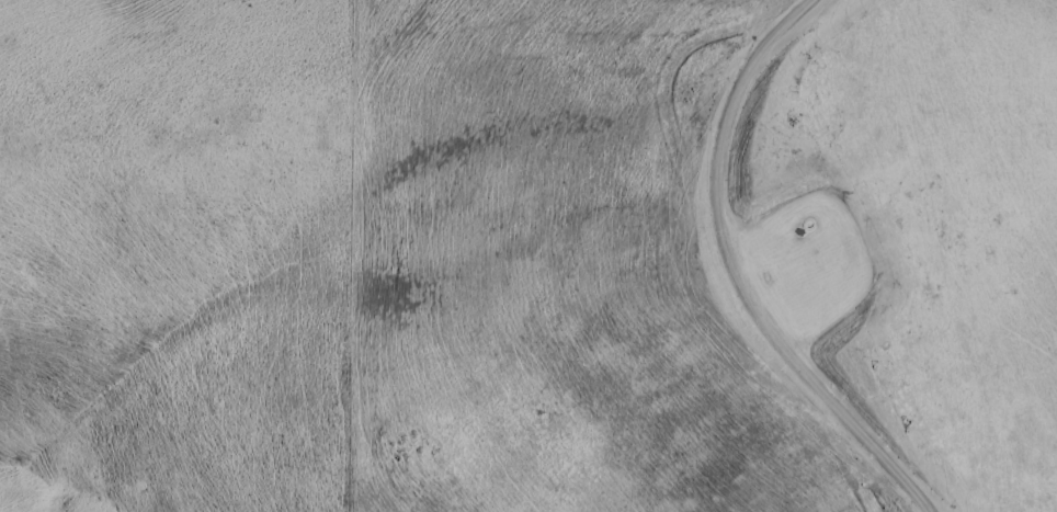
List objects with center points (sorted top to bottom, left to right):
wind turbine: (805, 230)

